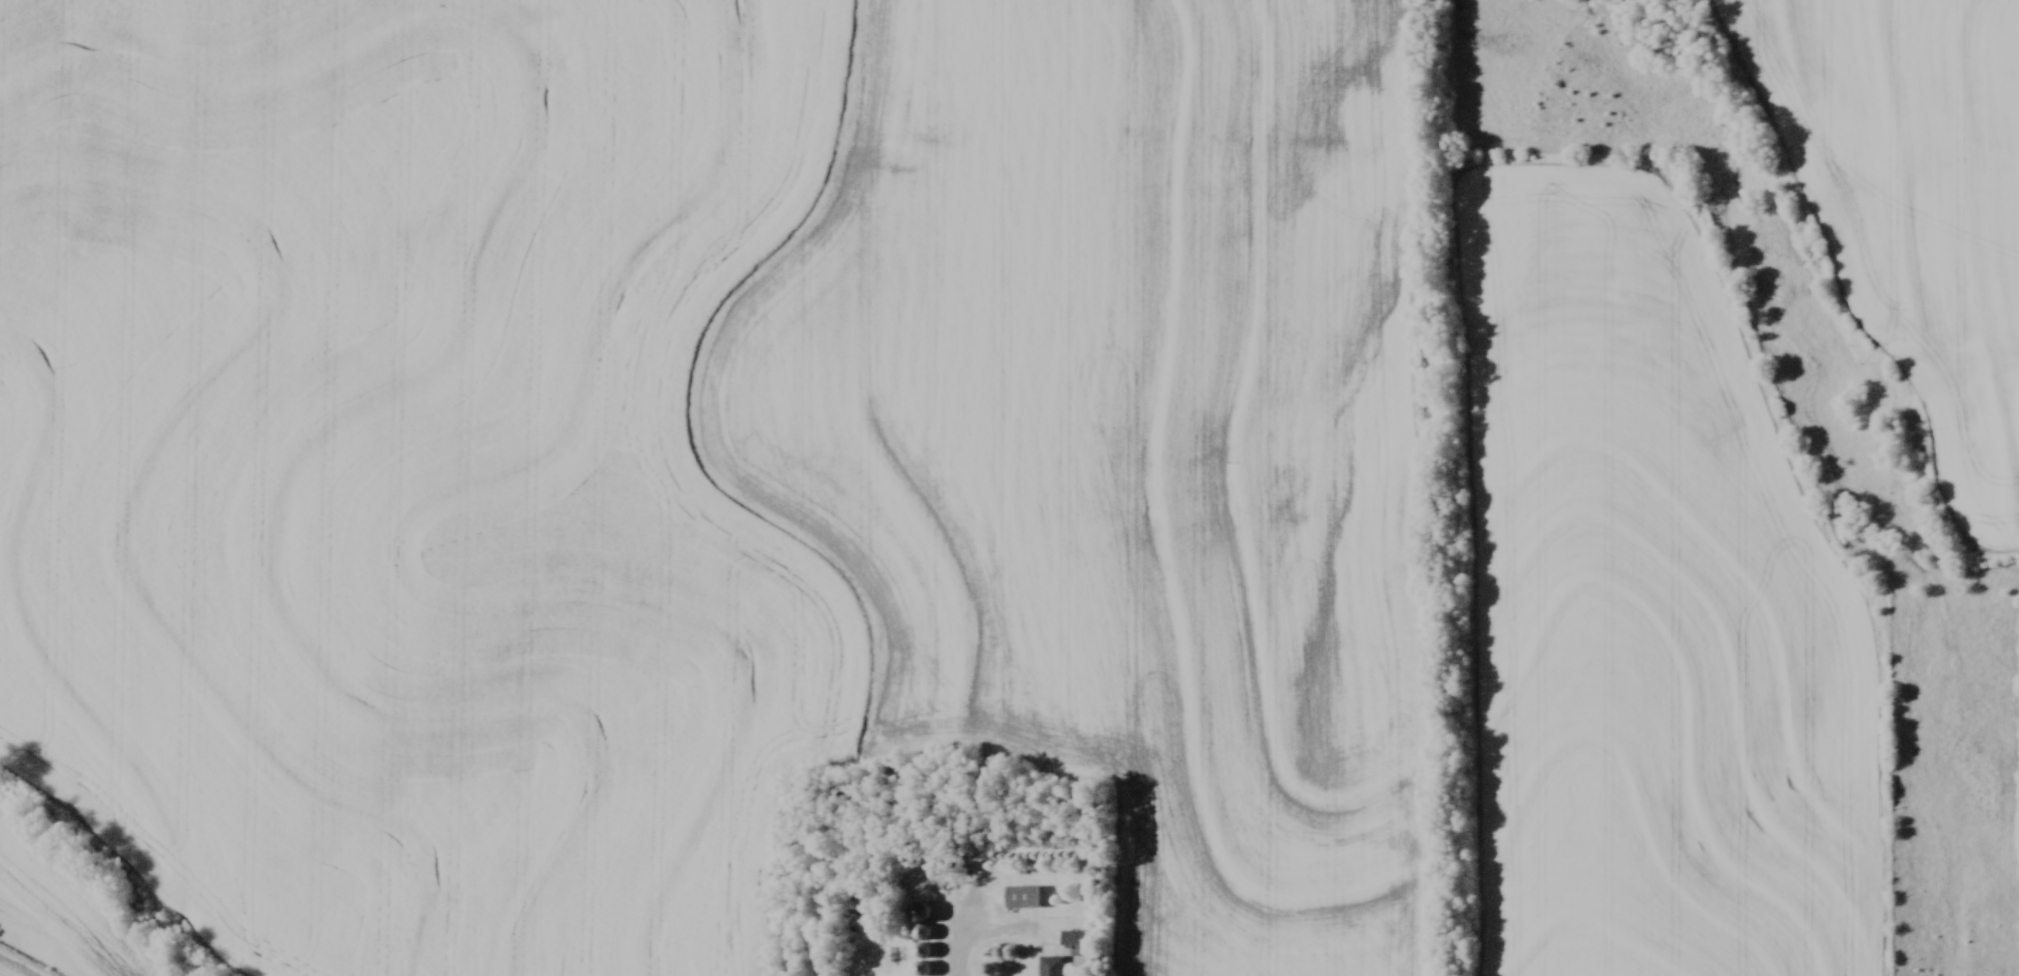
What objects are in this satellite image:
building: (1019, 894)
building: (916, 918)
building: (1070, 936)
road: (989, 937)
building: (918, 948)
building: (1050, 964)
building: (918, 966)

